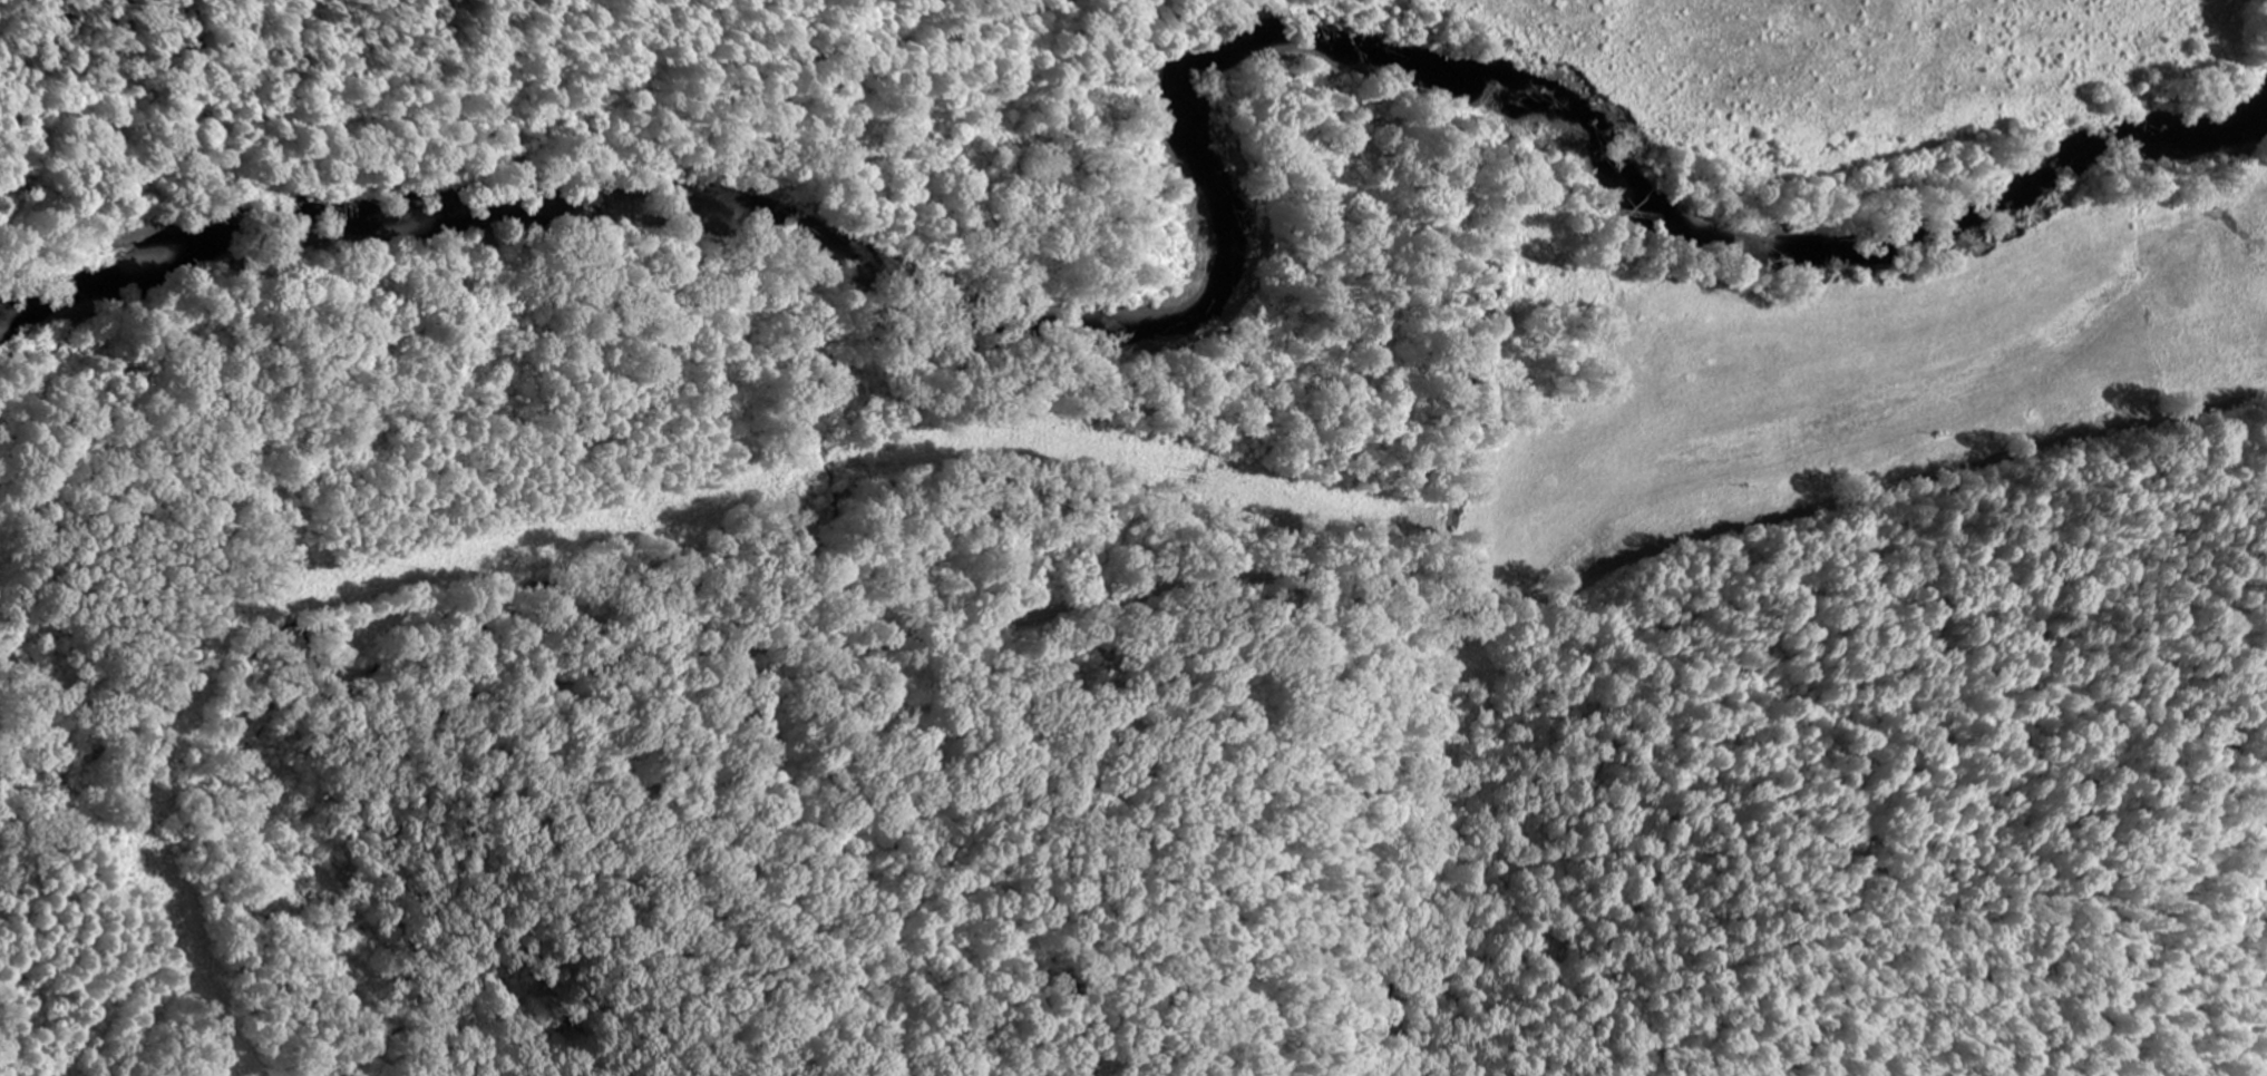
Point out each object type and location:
river: (1215, 215)
road: (1157, 590)

